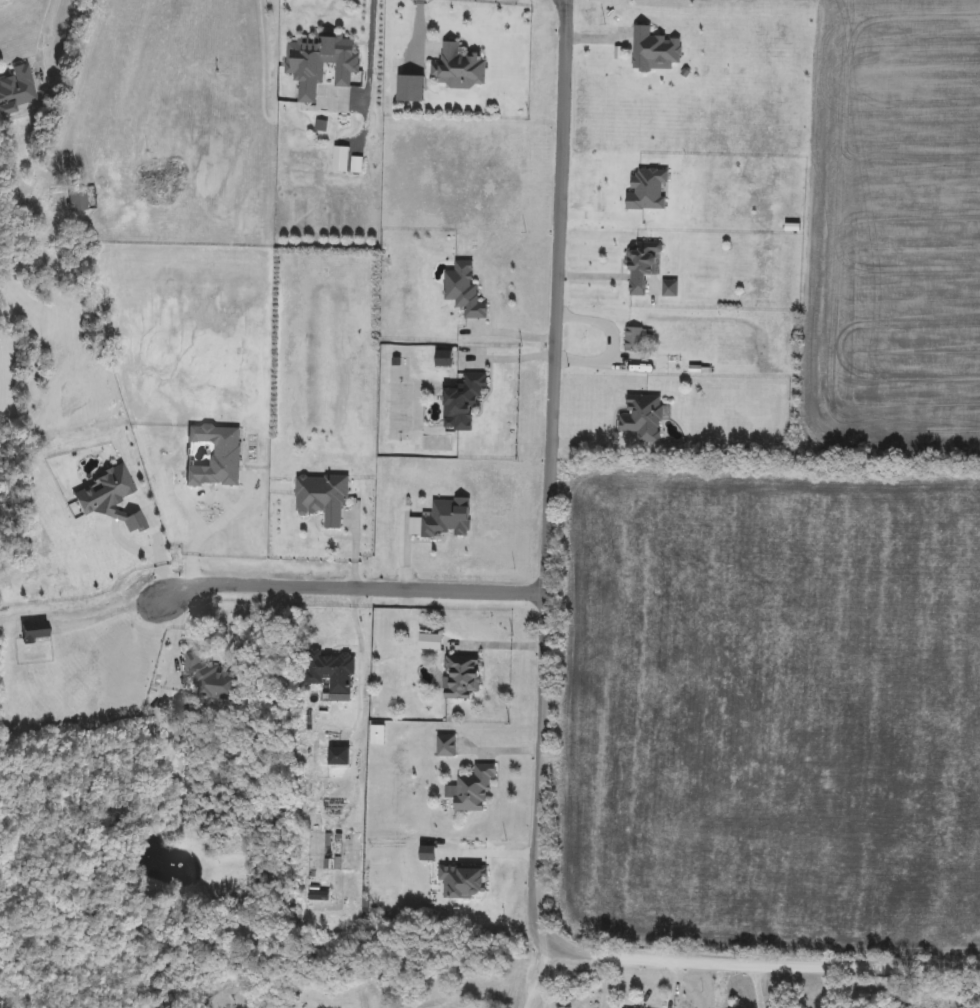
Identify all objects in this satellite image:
road: (47, 15)
road: (371, 48)
building: (654, 51)
building: (319, 63)
building: (457, 68)
road: (78, 76)
building: (16, 90)
building: (410, 90)
building: (340, 160)
building: (76, 198)
building: (641, 265)
building: (669, 289)
building: (463, 290)
building: (632, 340)
building: (442, 361)
building: (462, 402)
building: (642, 418)
building: (217, 460)
building: (108, 499)
building: (322, 499)
building: (445, 519)
road: (353, 586)
road: (111, 606)
road: (176, 630)
building: (430, 643)
road: (495, 643)
road: (200, 645)
road: (360, 662)
building: (330, 672)
building: (460, 677)
building: (211, 679)
road: (544, 687)
building: (151, 708)
building: (377, 736)
building: (143, 738)
building: (445, 747)
building: (205, 756)
building: (339, 758)
building: (472, 790)
building: (126, 886)
road: (537, 964)
building: (563, 998)
building: (954, 1003)

